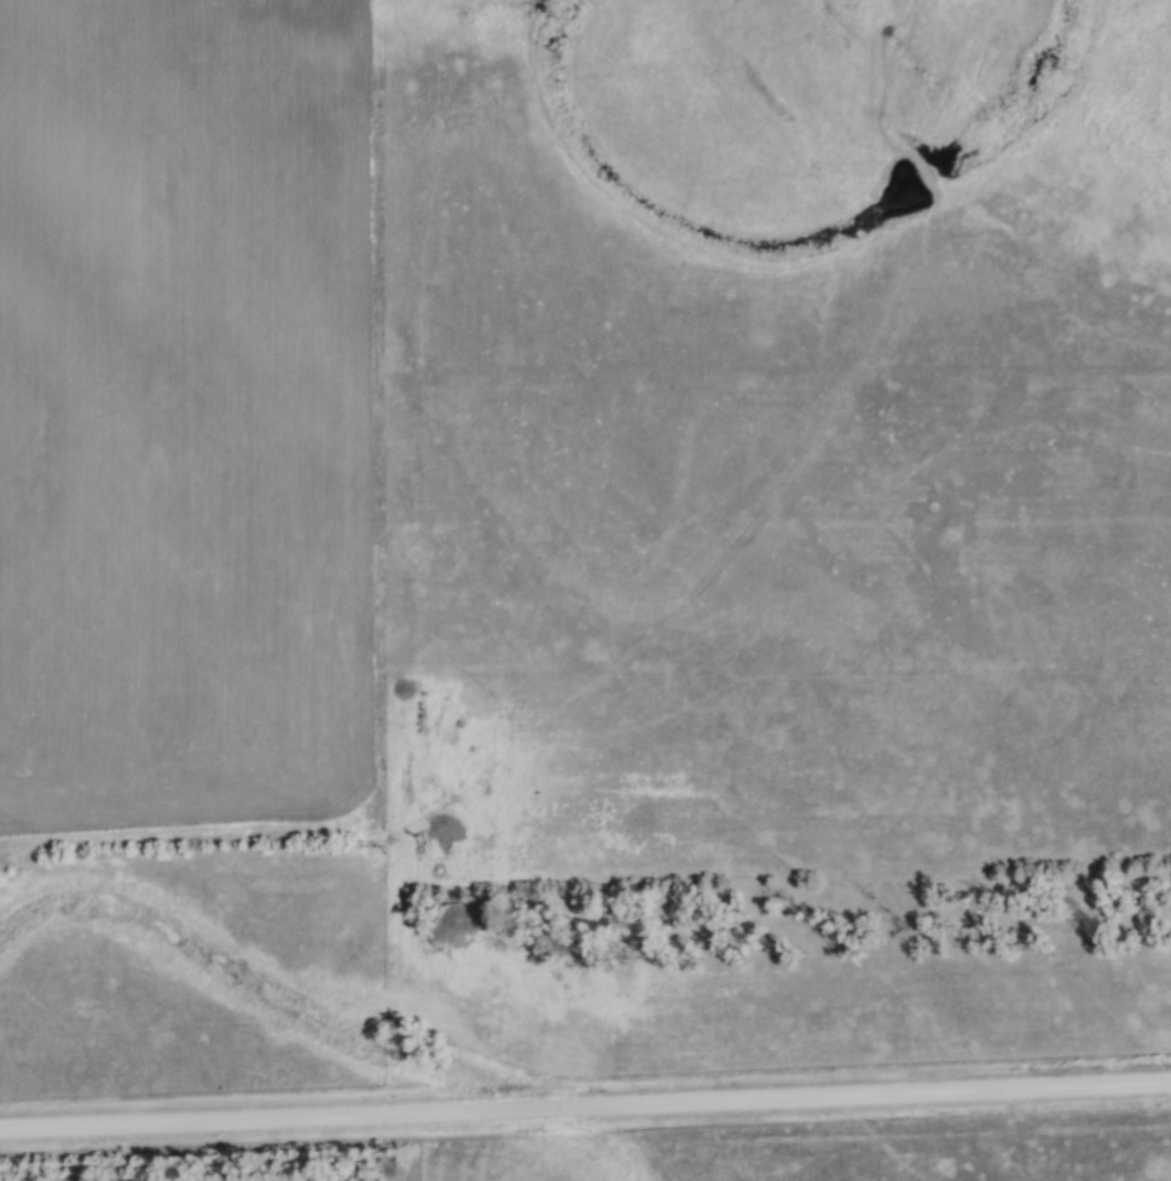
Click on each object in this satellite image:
road: (585, 1101)

